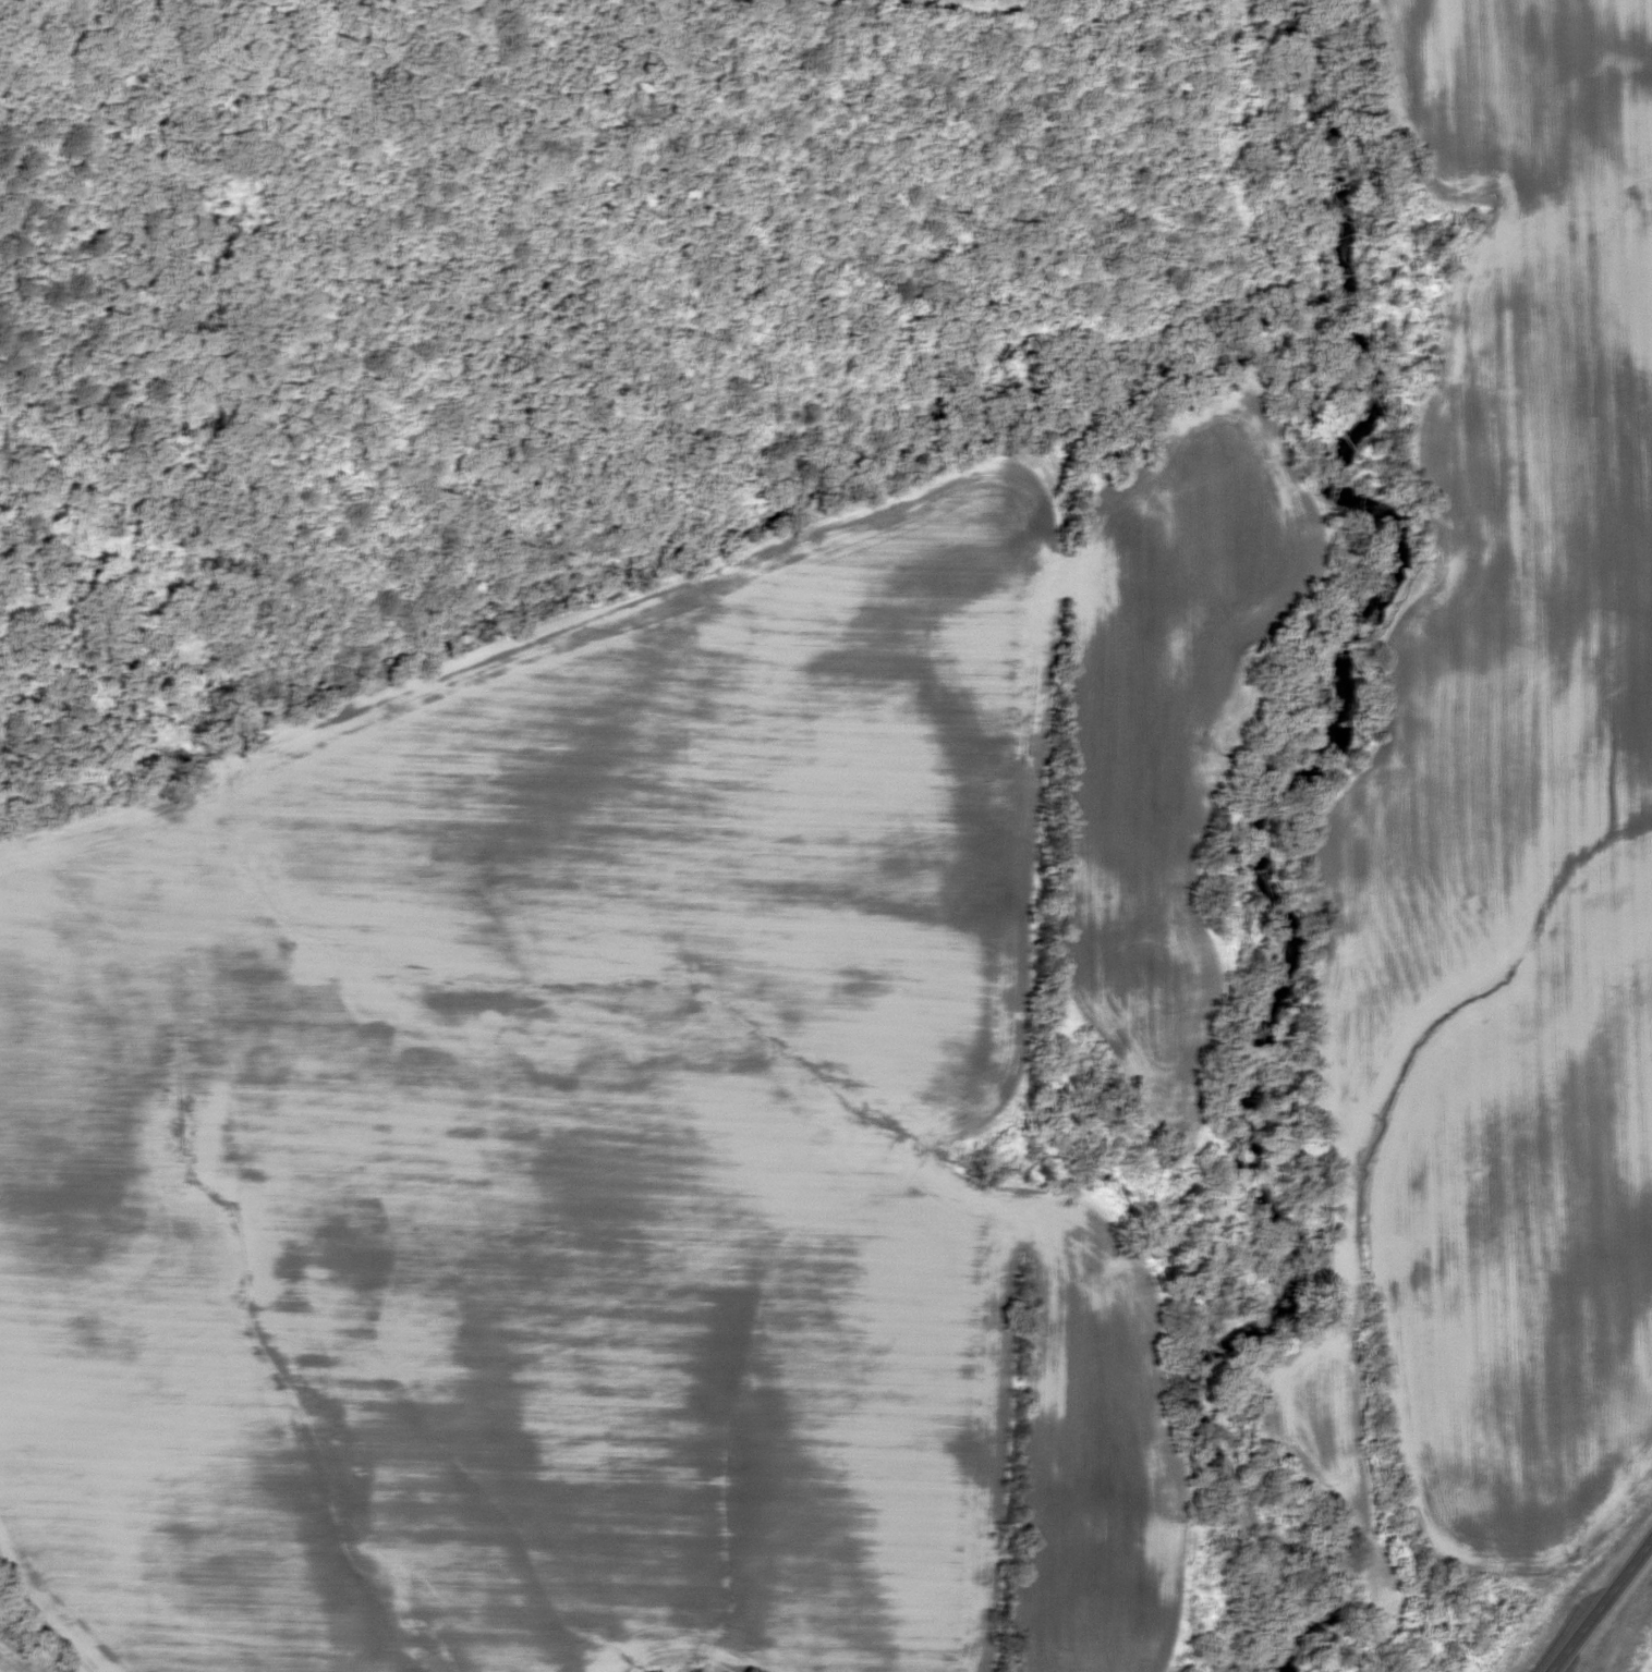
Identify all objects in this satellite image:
road: (1599, 1602)

